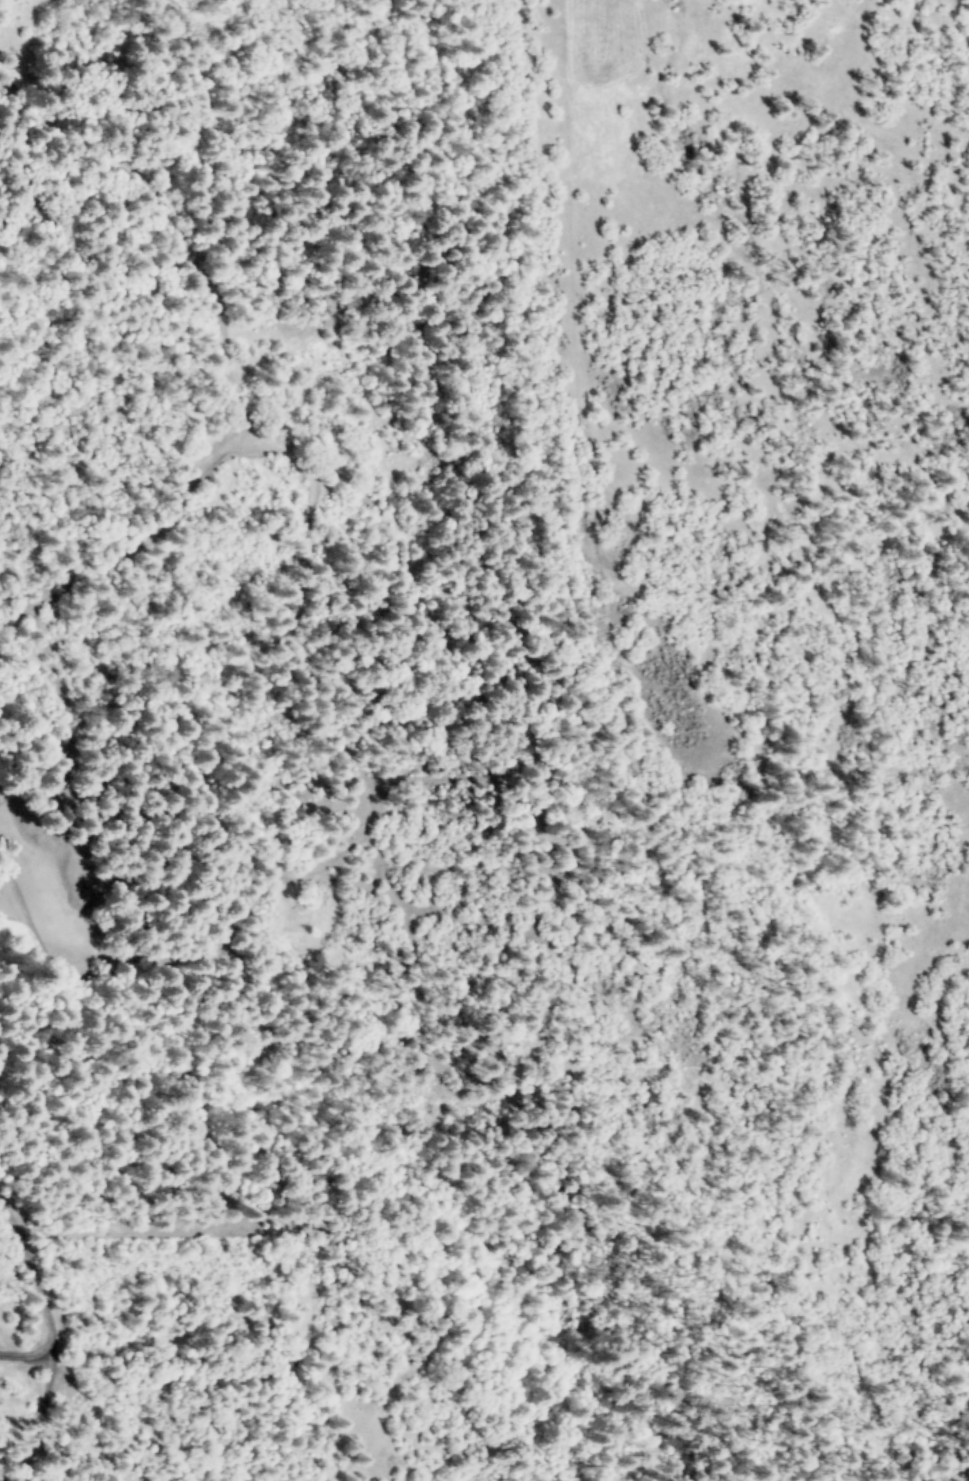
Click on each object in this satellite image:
road: (39, 1337)

